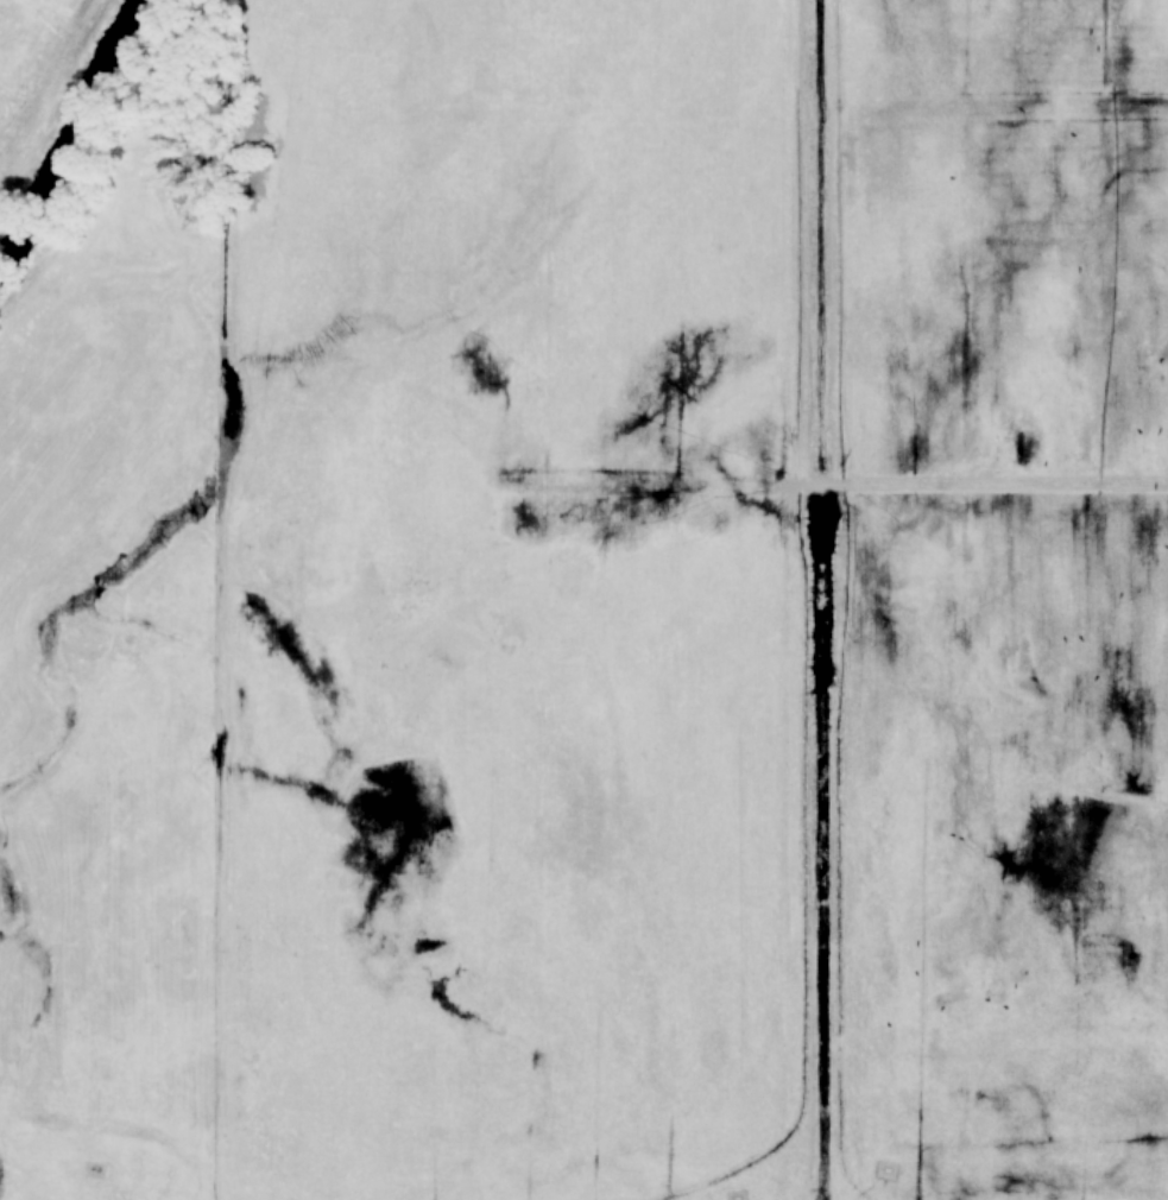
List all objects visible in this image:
river: (76, 131)

